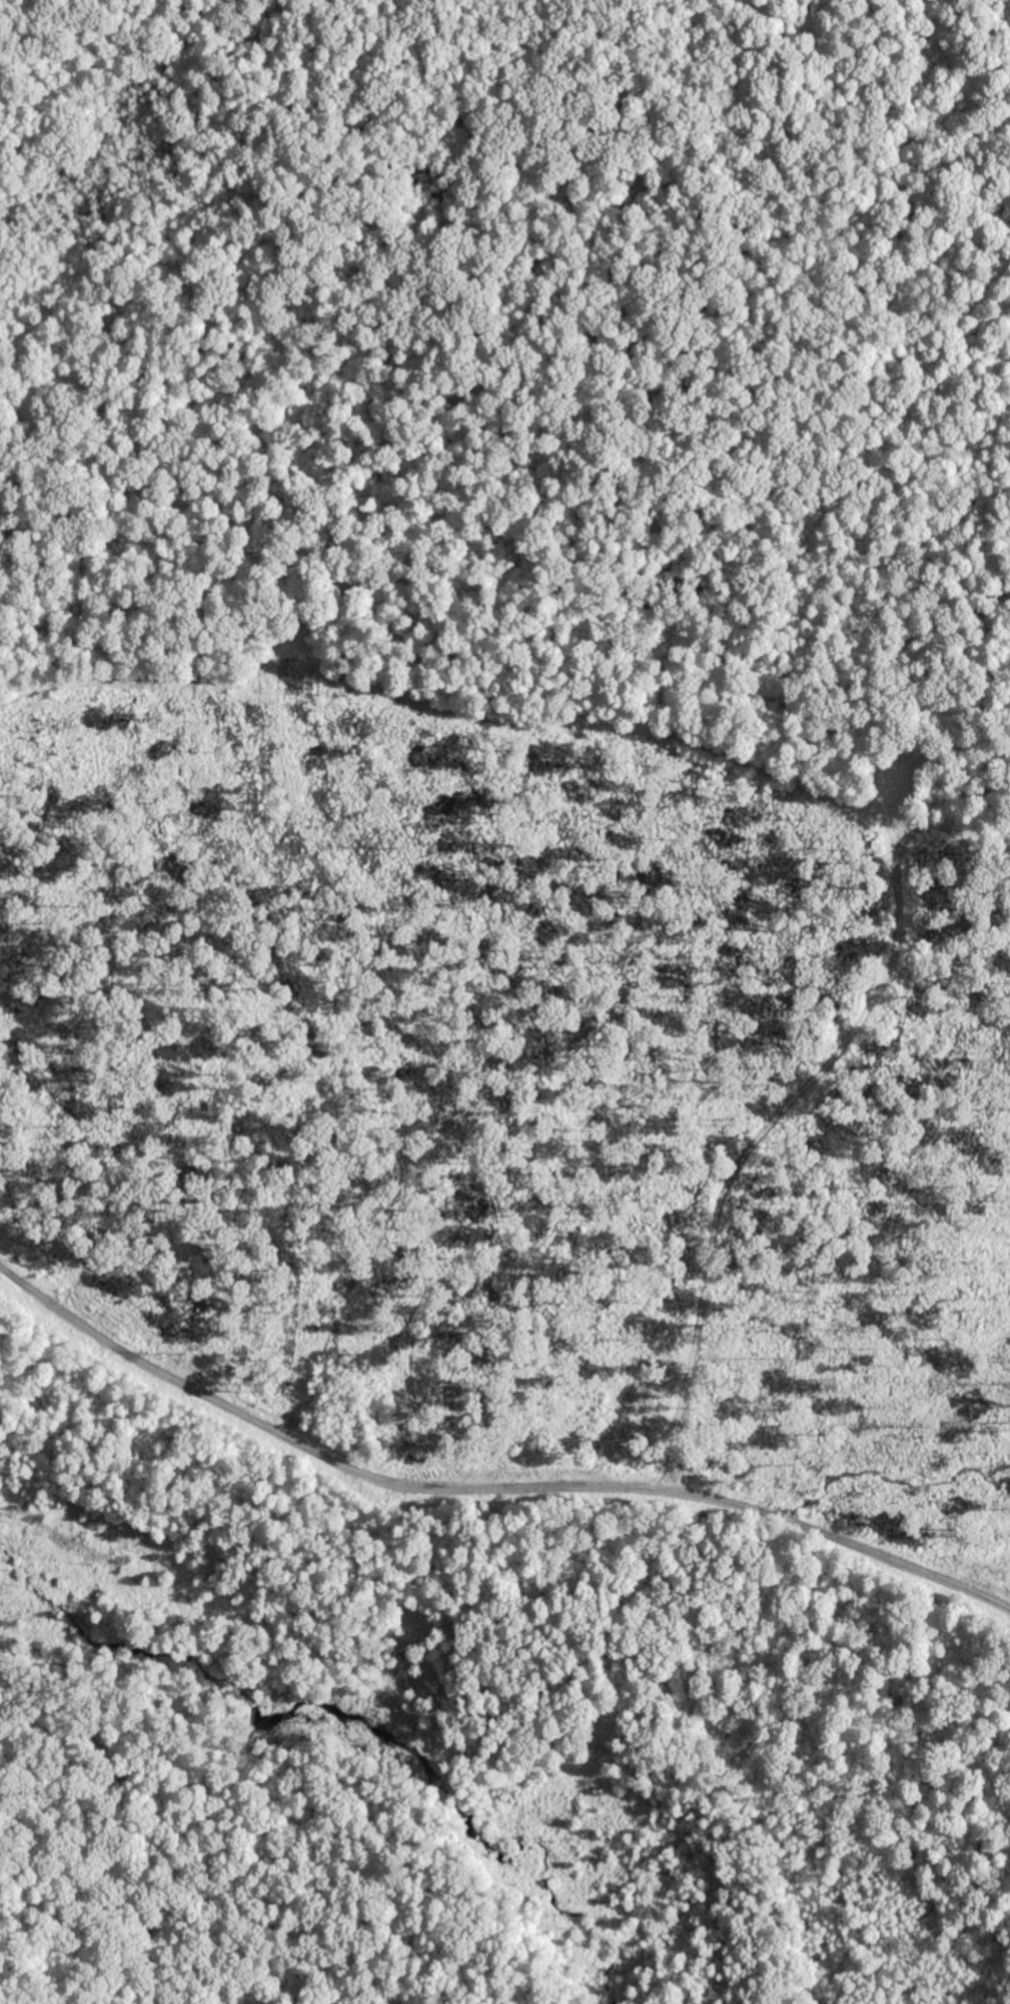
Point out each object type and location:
road: (486, 1486)

